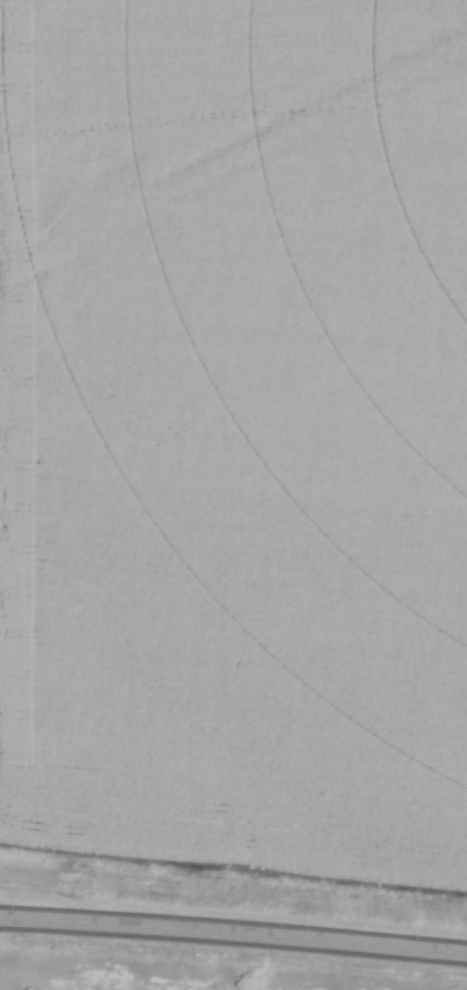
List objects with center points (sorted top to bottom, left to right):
road: (233, 938)

